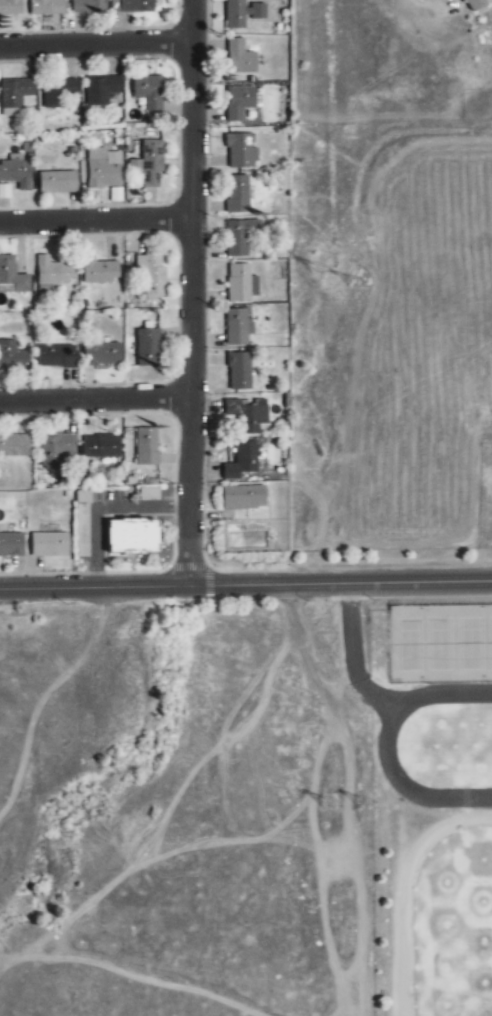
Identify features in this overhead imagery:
building: (476, 5)
building: (88, 6)
building: (136, 6)
building: (46, 7)
building: (10, 8)
building: (242, 14)
road: (97, 46)
building: (242, 59)
building: (101, 89)
building: (148, 91)
building: (58, 92)
building: (14, 95)
building: (238, 102)
building: (241, 152)
building: (150, 162)
building: (103, 168)
building: (16, 172)
building: (57, 182)
building: (4, 191)
building: (237, 194)
road: (97, 222)
building: (240, 236)
power tower: (330, 267)
building: (98, 270)
building: (52, 272)
building: (150, 273)
building: (12, 277)
power tower: (369, 282)
building: (242, 283)
road: (194, 292)
building: (238, 327)
building: (147, 347)
building: (101, 354)
building: (12, 355)
building: (55, 356)
building: (239, 371)
road: (97, 402)
building: (248, 414)
building: (13, 446)
building: (146, 446)
building: (101, 447)
building: (54, 451)
building: (242, 461)
building: (149, 494)
building: (243, 497)
building: (134, 535)
building: (11, 544)
building: (49, 545)
road: (245, 584)
power tower: (345, 801)
power tower: (380, 801)

